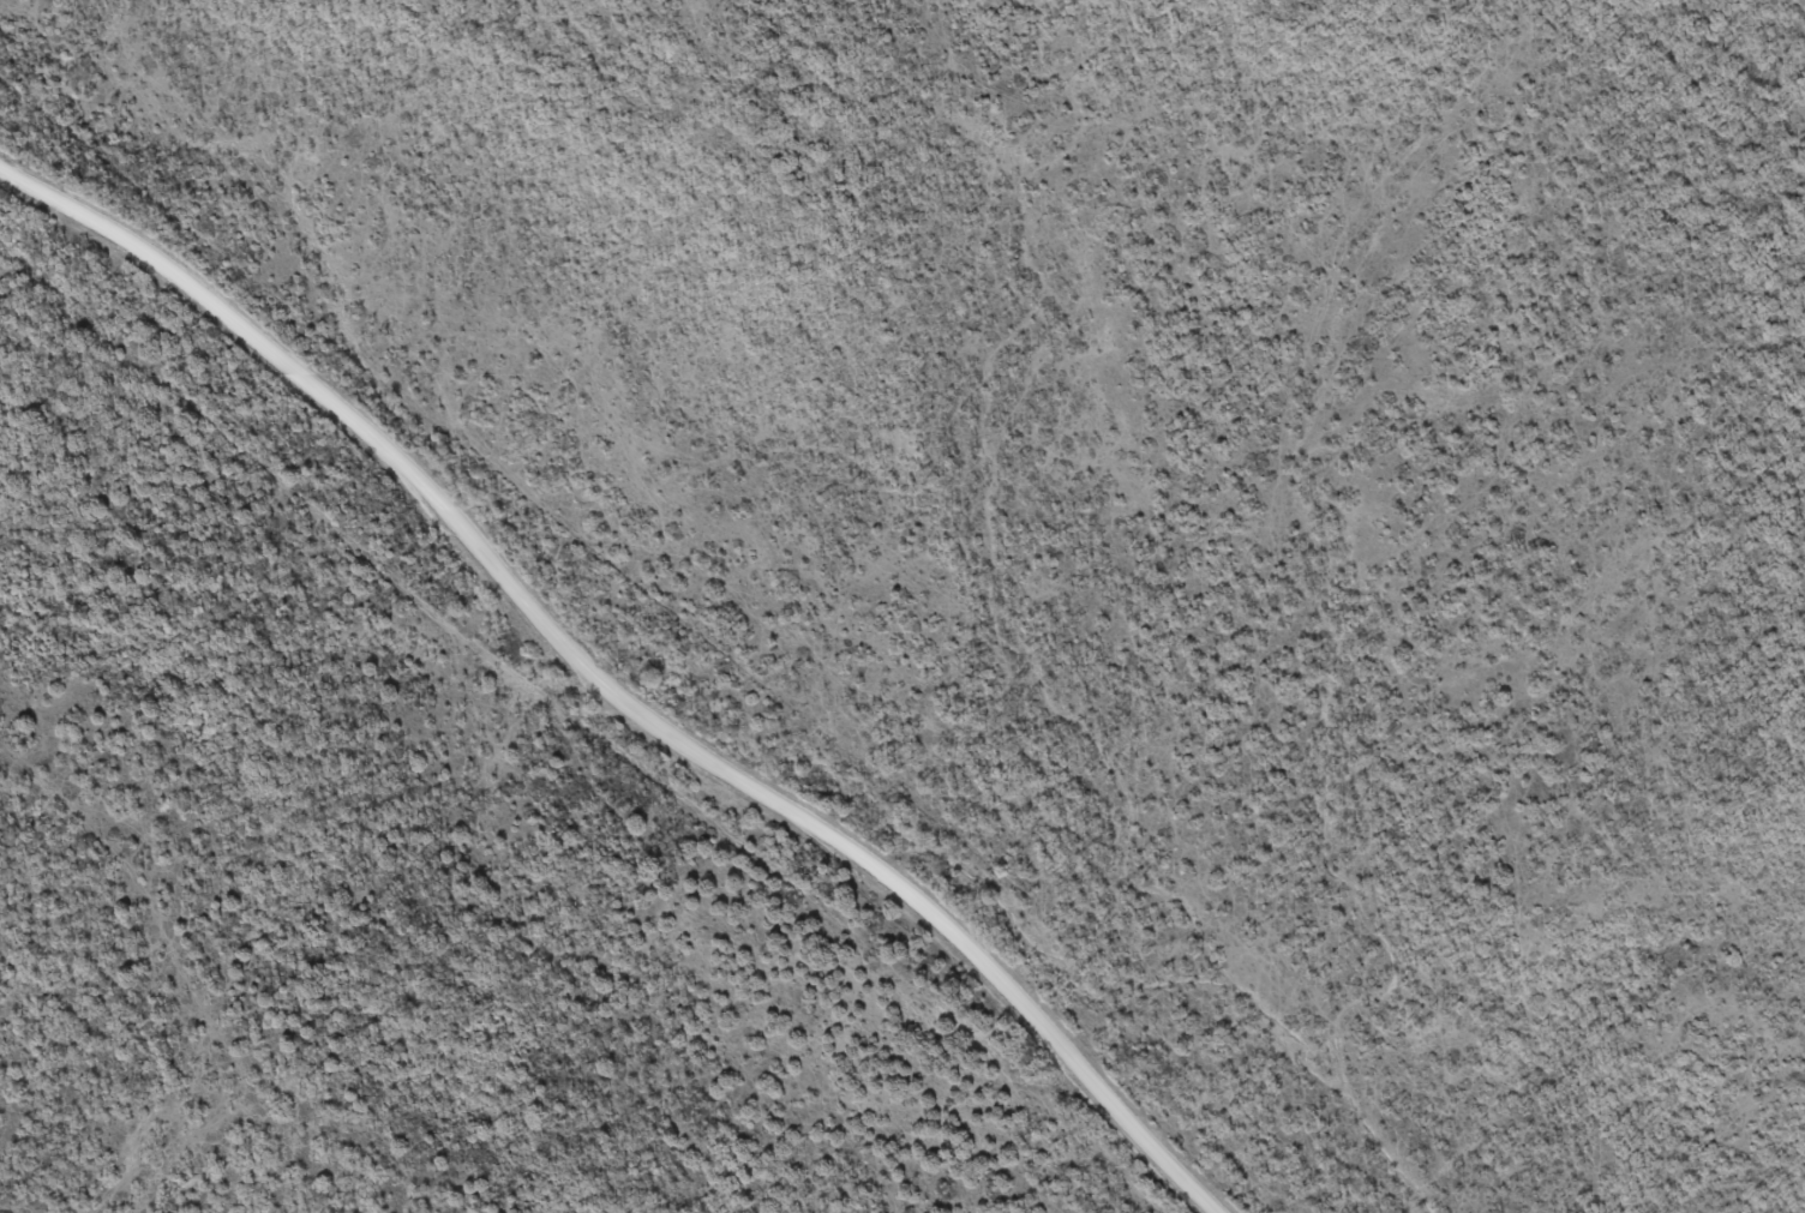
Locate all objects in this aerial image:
road: (610, 689)

